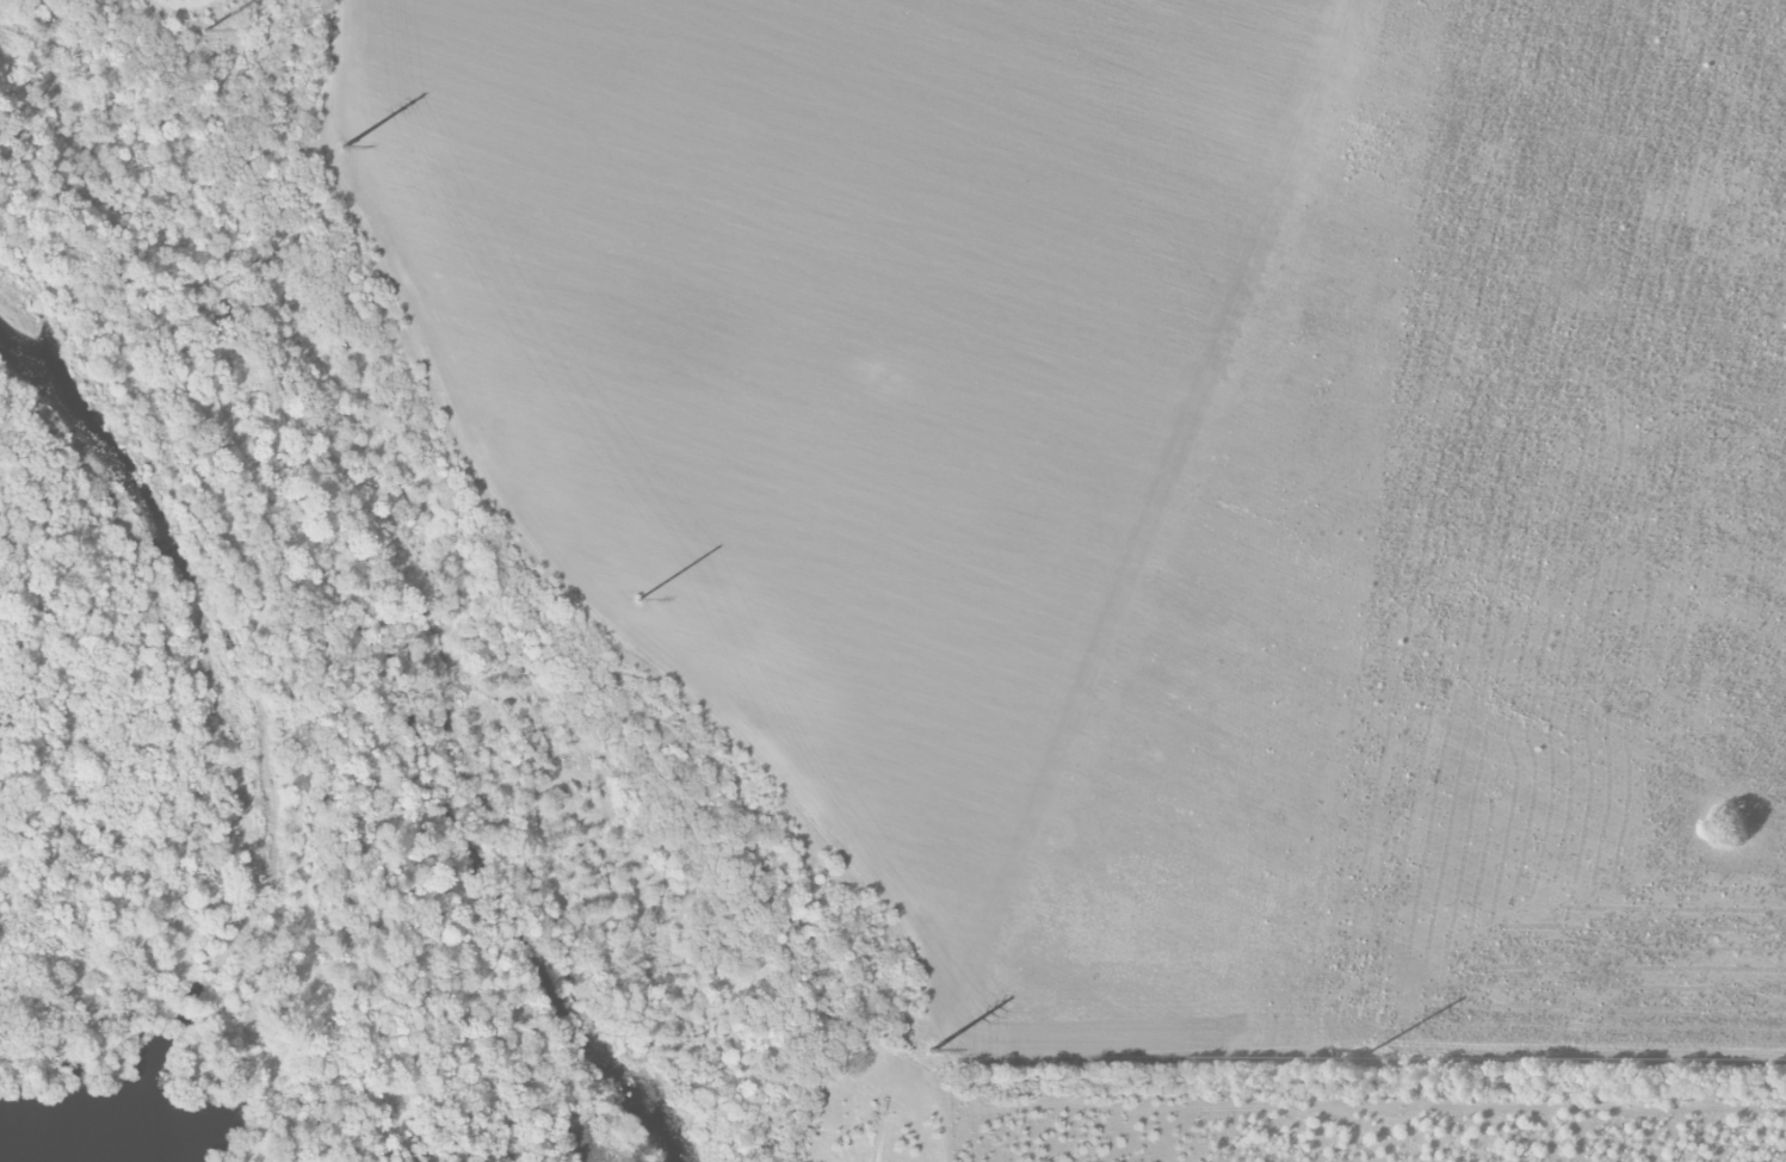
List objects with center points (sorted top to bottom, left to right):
power tower: (204, 30)
power tower: (344, 147)
power tower: (638, 599)
power tower: (932, 1051)
power tower: (1370, 1051)

